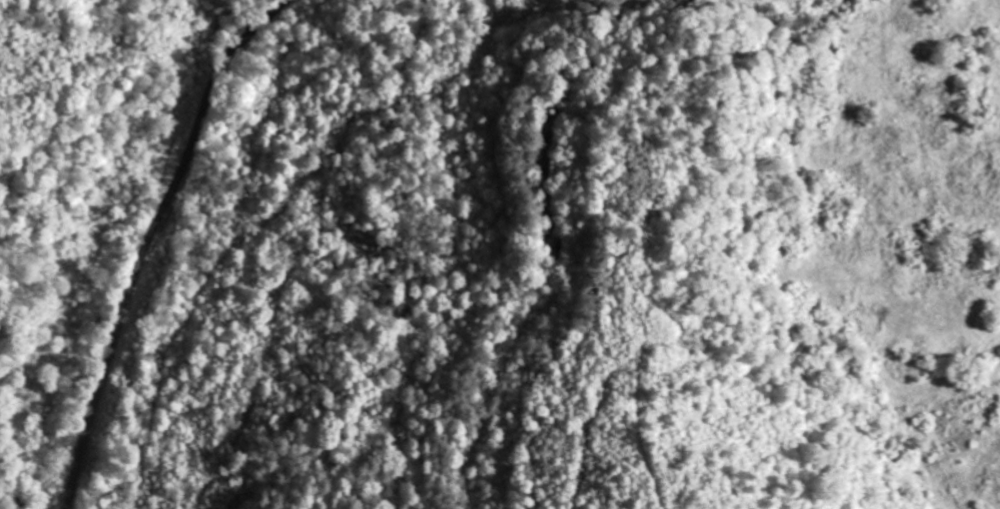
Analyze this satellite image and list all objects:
road: (148, 240)

